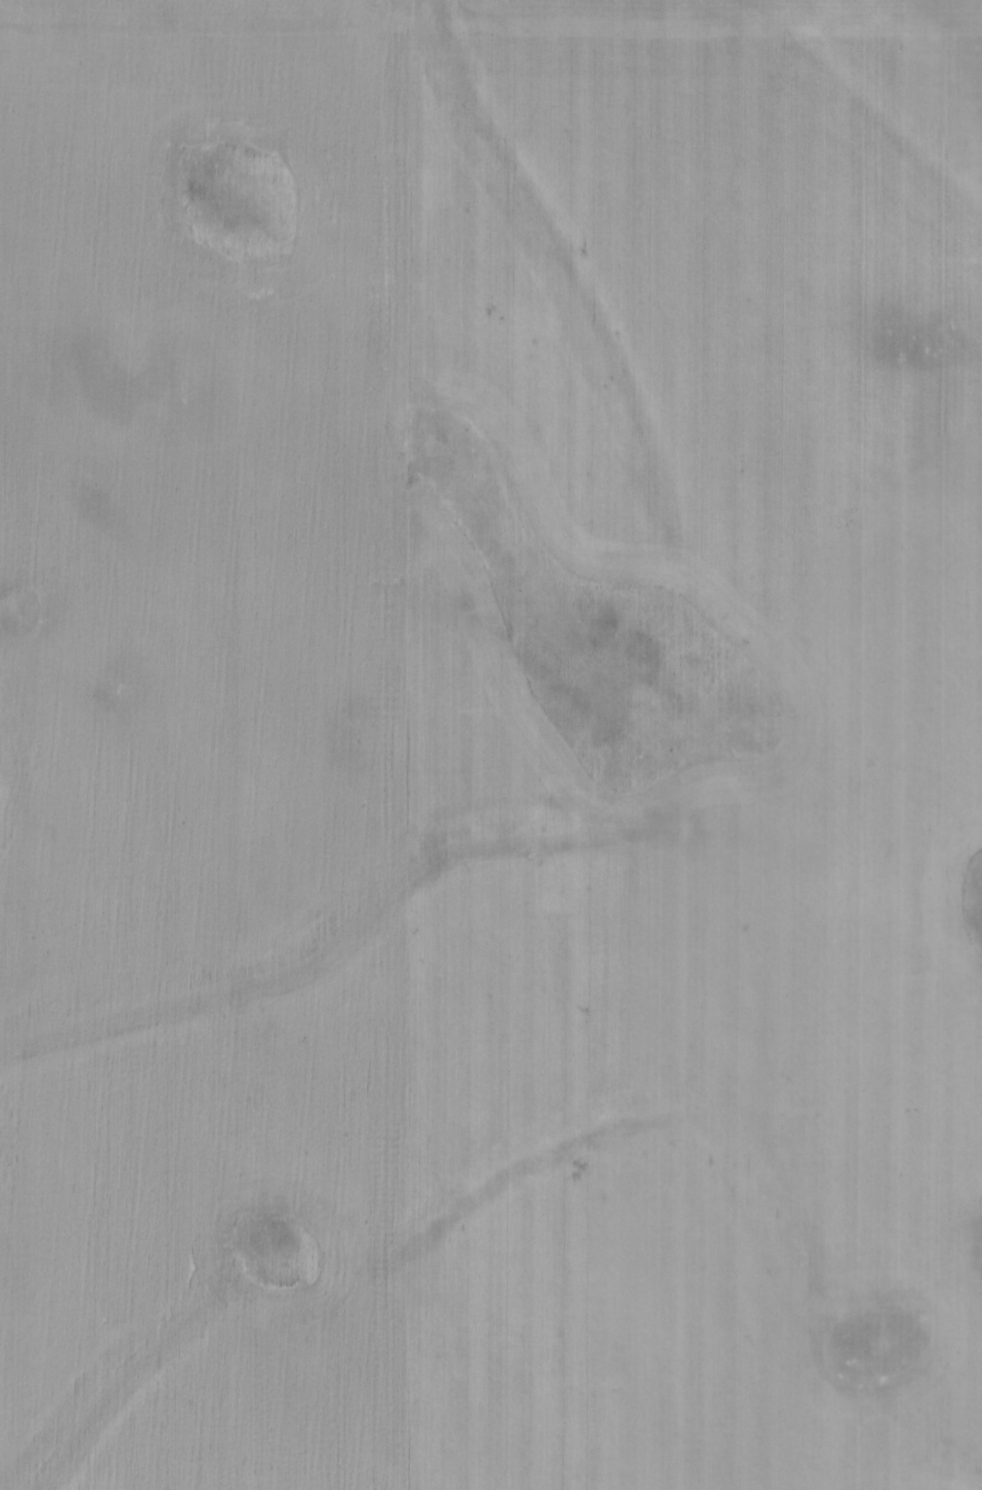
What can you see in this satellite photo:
crop: (491, 745)

